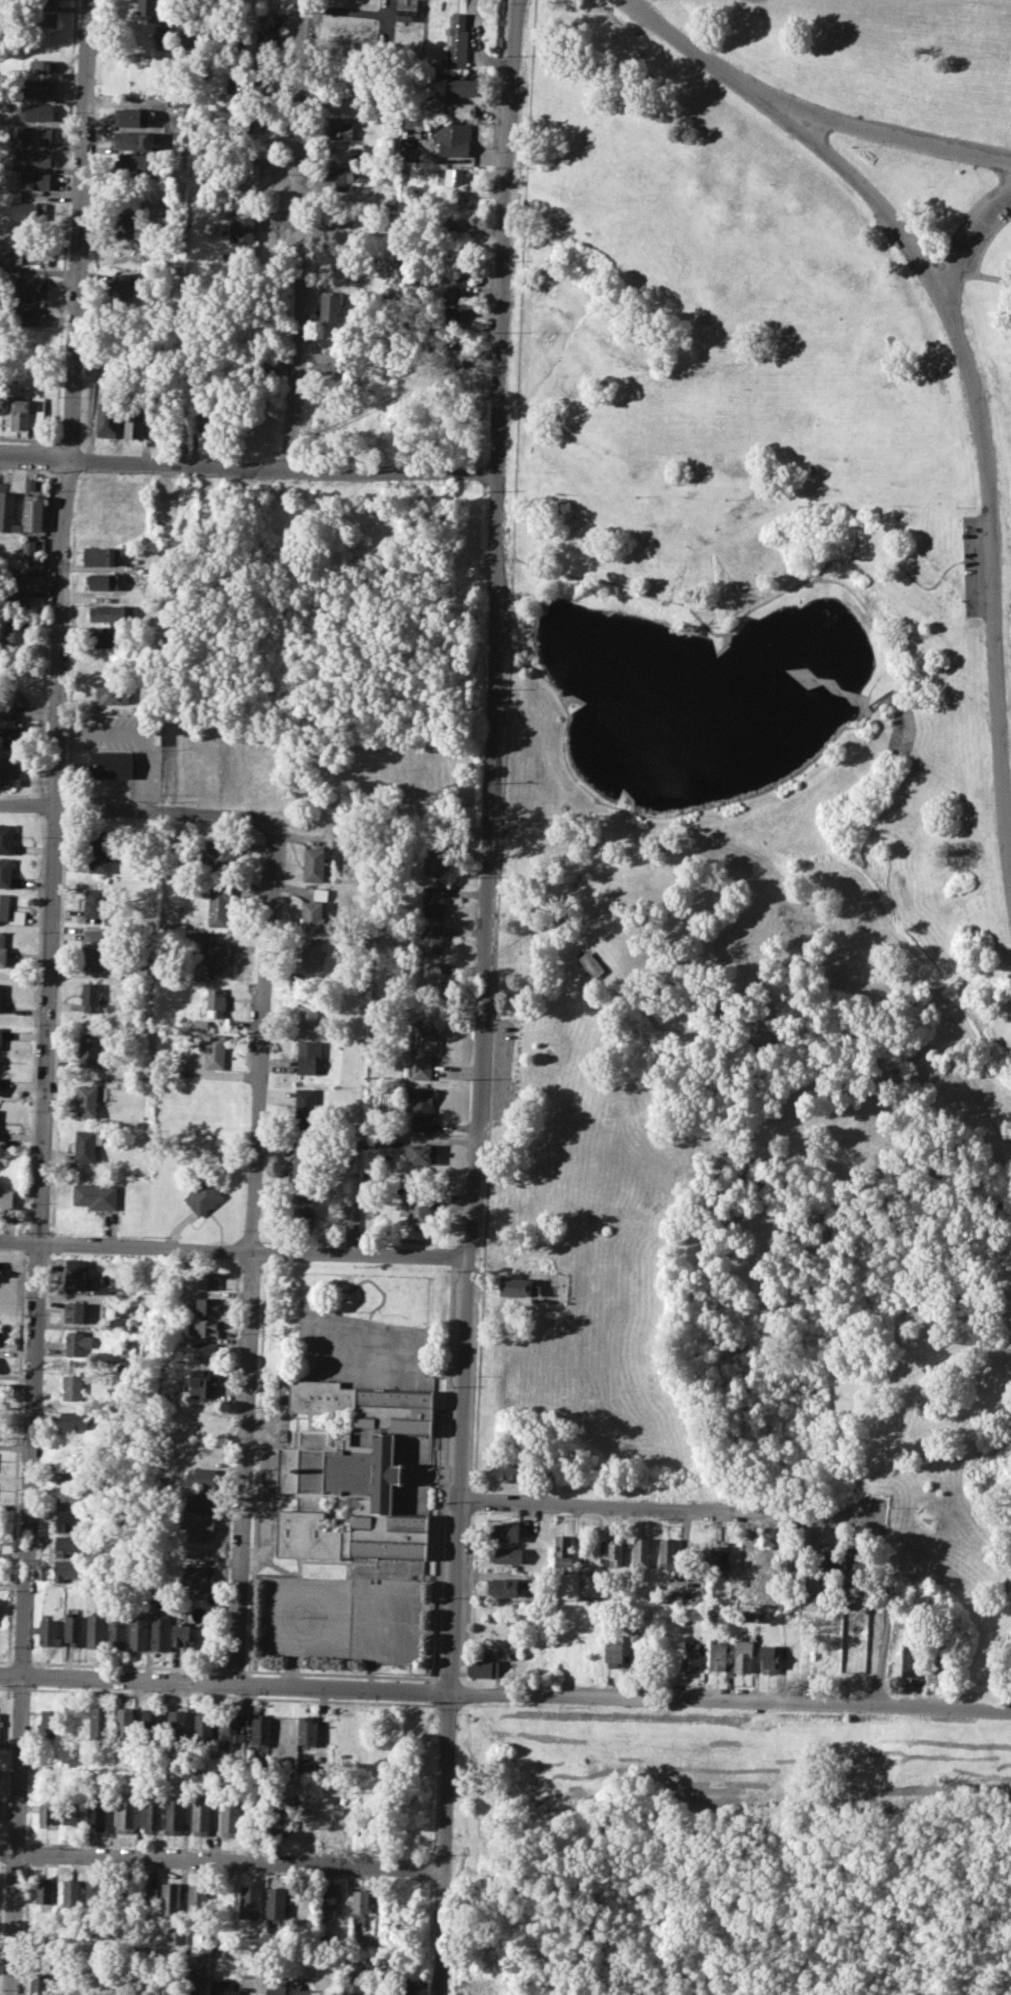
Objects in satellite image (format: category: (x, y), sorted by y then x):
building: (44, 2)
street lamp: (507, 3)
building: (408, 8)
building: (146, 10)
building: (44, 20)
building: (268, 39)
building: (163, 40)
building: (189, 41)
building: (458, 42)
road: (699, 54)
building: (43, 66)
building: (133, 69)
building: (454, 84)
building: (252, 85)
building: (39, 88)
building: (350, 89)
building: (462, 110)
building: (37, 111)
building: (133, 116)
building: (342, 128)
building: (34, 134)
road: (893, 134)
building: (456, 139)
building: (132, 140)
building: (32, 157)
building: (136, 163)
building: (244, 170)
building: (342, 175)
building: (457, 175)
building: (33, 180)
building: (28, 212)
building: (334, 219)
building: (128, 224)
building: (244, 227)
road: (967, 234)
road: (298, 235)
building: (30, 253)
building: (30, 287)
building: (121, 287)
building: (448, 295)
building: (333, 305)
building: (26, 315)
building: (449, 315)
building: (329, 361)
building: (455, 374)
building: (25, 412)
building: (107, 419)
building: (176, 420)
building: (134, 421)
building: (206, 424)
road: (985, 456)
road: (248, 469)
building: (32, 508)
building: (7, 511)
building: (164, 512)
building: (29, 547)
building: (101, 555)
building: (18, 574)
building: (104, 581)
building: (14, 597)
road: (759, 604)
building: (106, 612)
road: (511, 616)
road: (874, 625)
building: (14, 632)
building: (107, 639)
road: (789, 672)
building: (113, 694)
building: (12, 696)
road: (138, 732)
building: (12, 733)
parking lot: (127, 745)
park: (774, 749)
building: (111, 764)
building: (9, 768)
road: (133, 810)
road: (503, 816)
building: (7, 838)
building: (100, 850)
building: (217, 853)
building: (434, 861)
building: (313, 864)
building: (5, 871)
building: (432, 900)
building: (96, 901)
building: (220, 905)
building: (10, 911)
building: (312, 915)
building: (430, 940)
building: (96, 948)
building: (3, 952)
building: (311, 953)
building: (217, 957)
building: (590, 963)
building: (429, 975)
building: (1, 997)
road: (49, 997)
building: (91, 997)
road: (484, 997)
building: (215, 1001)
building: (308, 1015)
building: (0, 1033)
building: (421, 1048)
building: (214, 1050)
building: (90, 1051)
building: (308, 1055)
building: (87, 1100)
building: (305, 1104)
building: (419, 1106)
building: (88, 1144)
road: (487, 1149)
building: (422, 1154)
building: (304, 1165)
building: (204, 1195)
building: (96, 1196)
building: (9, 1198)
building: (419, 1206)
building: (352, 1211)
building: (300, 1217)
road: (235, 1250)
road: (250, 1255)
building: (2, 1268)
building: (74, 1279)
building: (208, 1280)
building: (515, 1285)
building: (104, 1290)
building: (207, 1306)
building: (73, 1312)
building: (206, 1328)
building: (76, 1343)
building: (127, 1348)
building: (204, 1351)
building: (202, 1381)
building: (72, 1386)
building: (73, 1421)
road: (229, 1467)
building: (70, 1468)
building: (509, 1468)
road: (256, 1471)
building: (349, 1474)
building: (192, 1477)
building: (69, 1493)
road: (473, 1501)
building: (199, 1502)
road: (671, 1511)
building: (68, 1520)
building: (198, 1527)
building: (507, 1531)
building: (69, 1544)
building: (564, 1551)
building: (614, 1551)
building: (642, 1552)
building: (667, 1554)
building: (509, 1555)
building: (721, 1557)
building: (831, 1563)
building: (70, 1569)
building: (196, 1578)
building: (503, 1586)
road: (468, 1596)
road: (882, 1615)
building: (756, 1617)
building: (73, 1629)
building: (95, 1630)
building: (117, 1630)
building: (160, 1630)
building: (49, 1632)
building: (138, 1632)
building: (182, 1635)
building: (615, 1650)
building: (690, 1654)
building: (822, 1654)
building: (637, 1655)
building: (744, 1655)
building: (719, 1657)
road: (6, 1659)
building: (770, 1659)
road: (20, 1660)
building: (912, 1660)
road: (127, 1665)
building: (486, 1666)
building: (937, 1666)
road: (234, 1670)
road: (345, 1673)
road: (450, 1673)
road: (505, 1694)
building: (50, 1722)
building: (99, 1722)
building: (124, 1722)
building: (151, 1724)
building: (177, 1724)
building: (202, 1727)
building: (262, 1729)
building: (230, 1730)
building: (307, 1730)
building: (213, 1763)
building: (309, 1769)
building: (73, 1810)
building: (98, 1812)
building: (128, 1813)
building: (153, 1813)
building: (48, 1814)
building: (177, 1816)
building: (201, 1816)
building: (230, 1819)
building: (281, 1821)
building: (330, 1827)
park: (736, 1839)
road: (222, 1859)
building: (44, 1891)
building: (72, 1892)
building: (144, 1892)
building: (96, 1893)
building: (197, 1898)
building: (171, 1900)
building: (275, 1901)
building: (329, 1901)
building: (249, 1903)
building: (358, 1905)
building: (176, 1935)
building: (322, 1964)
building: (93, 1983)
building: (483, 1983)
building: (39, 1984)
building: (116, 1985)
building: (143, 1985)
building: (406, 1986)
building: (354, 1987)
building: (225, 1988)
building: (192, 1989)
building: (277, 1989)
building: (301, 1990)

